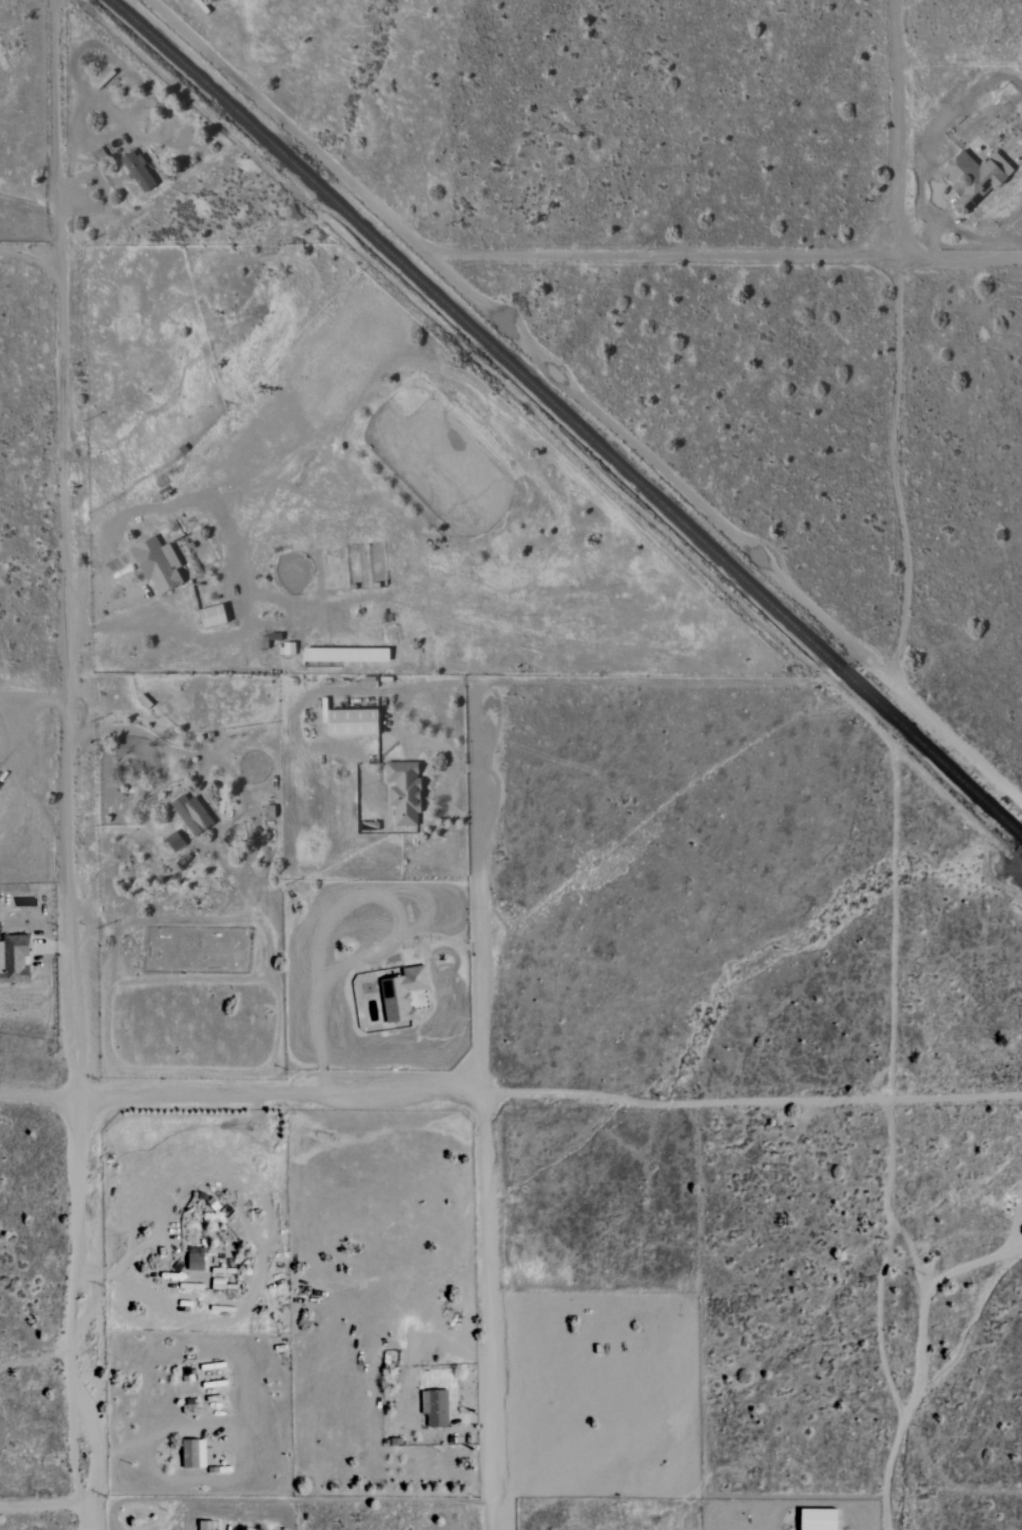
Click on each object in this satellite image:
road: (288, 125)
building: (137, 172)
building: (974, 179)
road: (30, 192)
road: (31, 254)
road: (960, 257)
road: (897, 342)
road: (549, 368)
railway: (568, 415)
building: (157, 564)
building: (212, 617)
building: (287, 649)
building: (345, 656)
road: (33, 696)
building: (352, 722)
road: (119, 730)
road: (66, 765)
building: (403, 791)
building: (191, 814)
building: (174, 841)
road: (894, 923)
building: (13, 960)
building: (402, 994)
road: (511, 1096)
road: (484, 1103)
building: (195, 1262)
road: (971, 1265)
road: (880, 1315)
road: (923, 1317)
building: (435, 1407)
road: (108, 1451)
building: (193, 1454)
road: (41, 1506)
building: (818, 1519)
building: (206, 1525)

